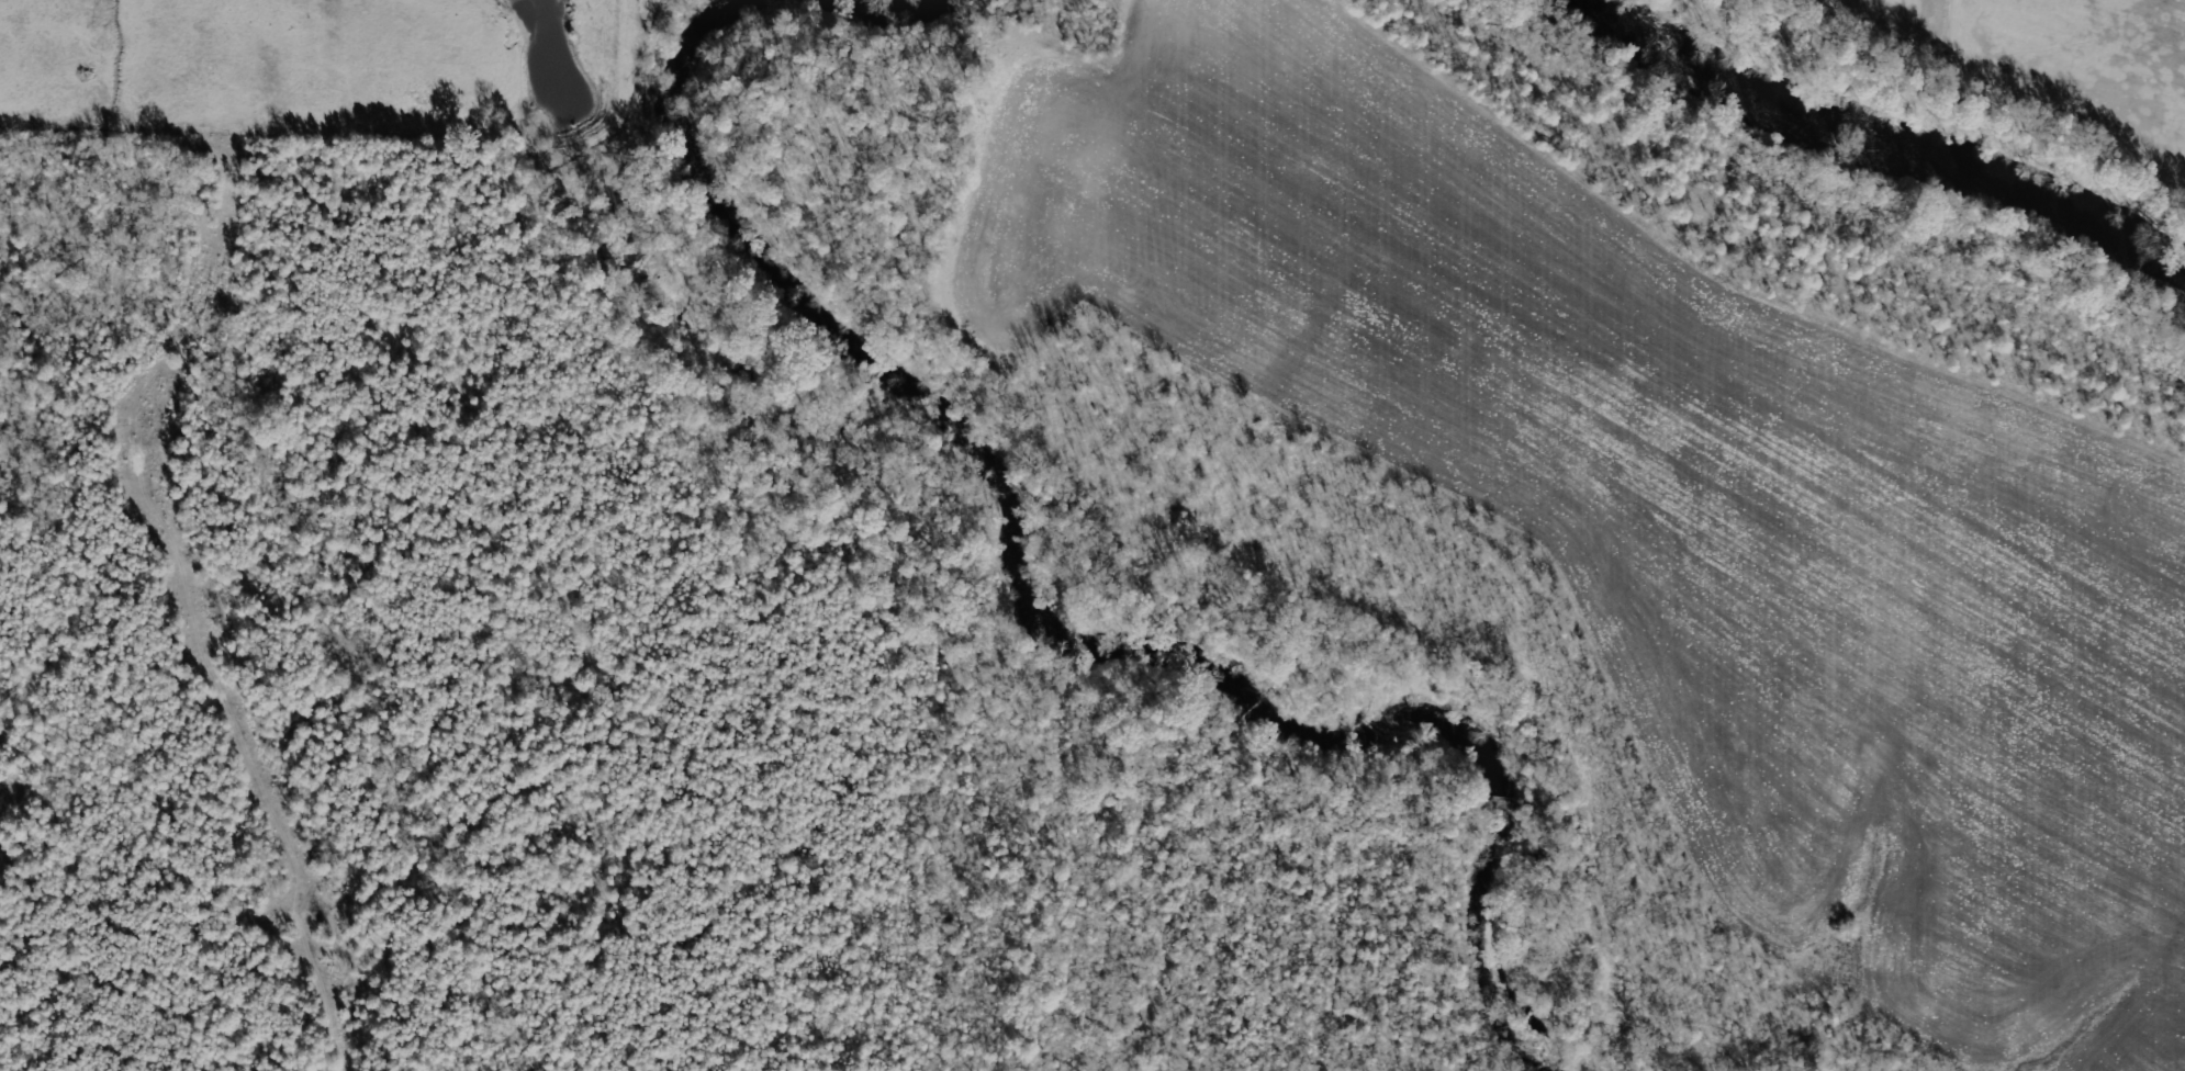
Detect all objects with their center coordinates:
river: (1903, 142)

